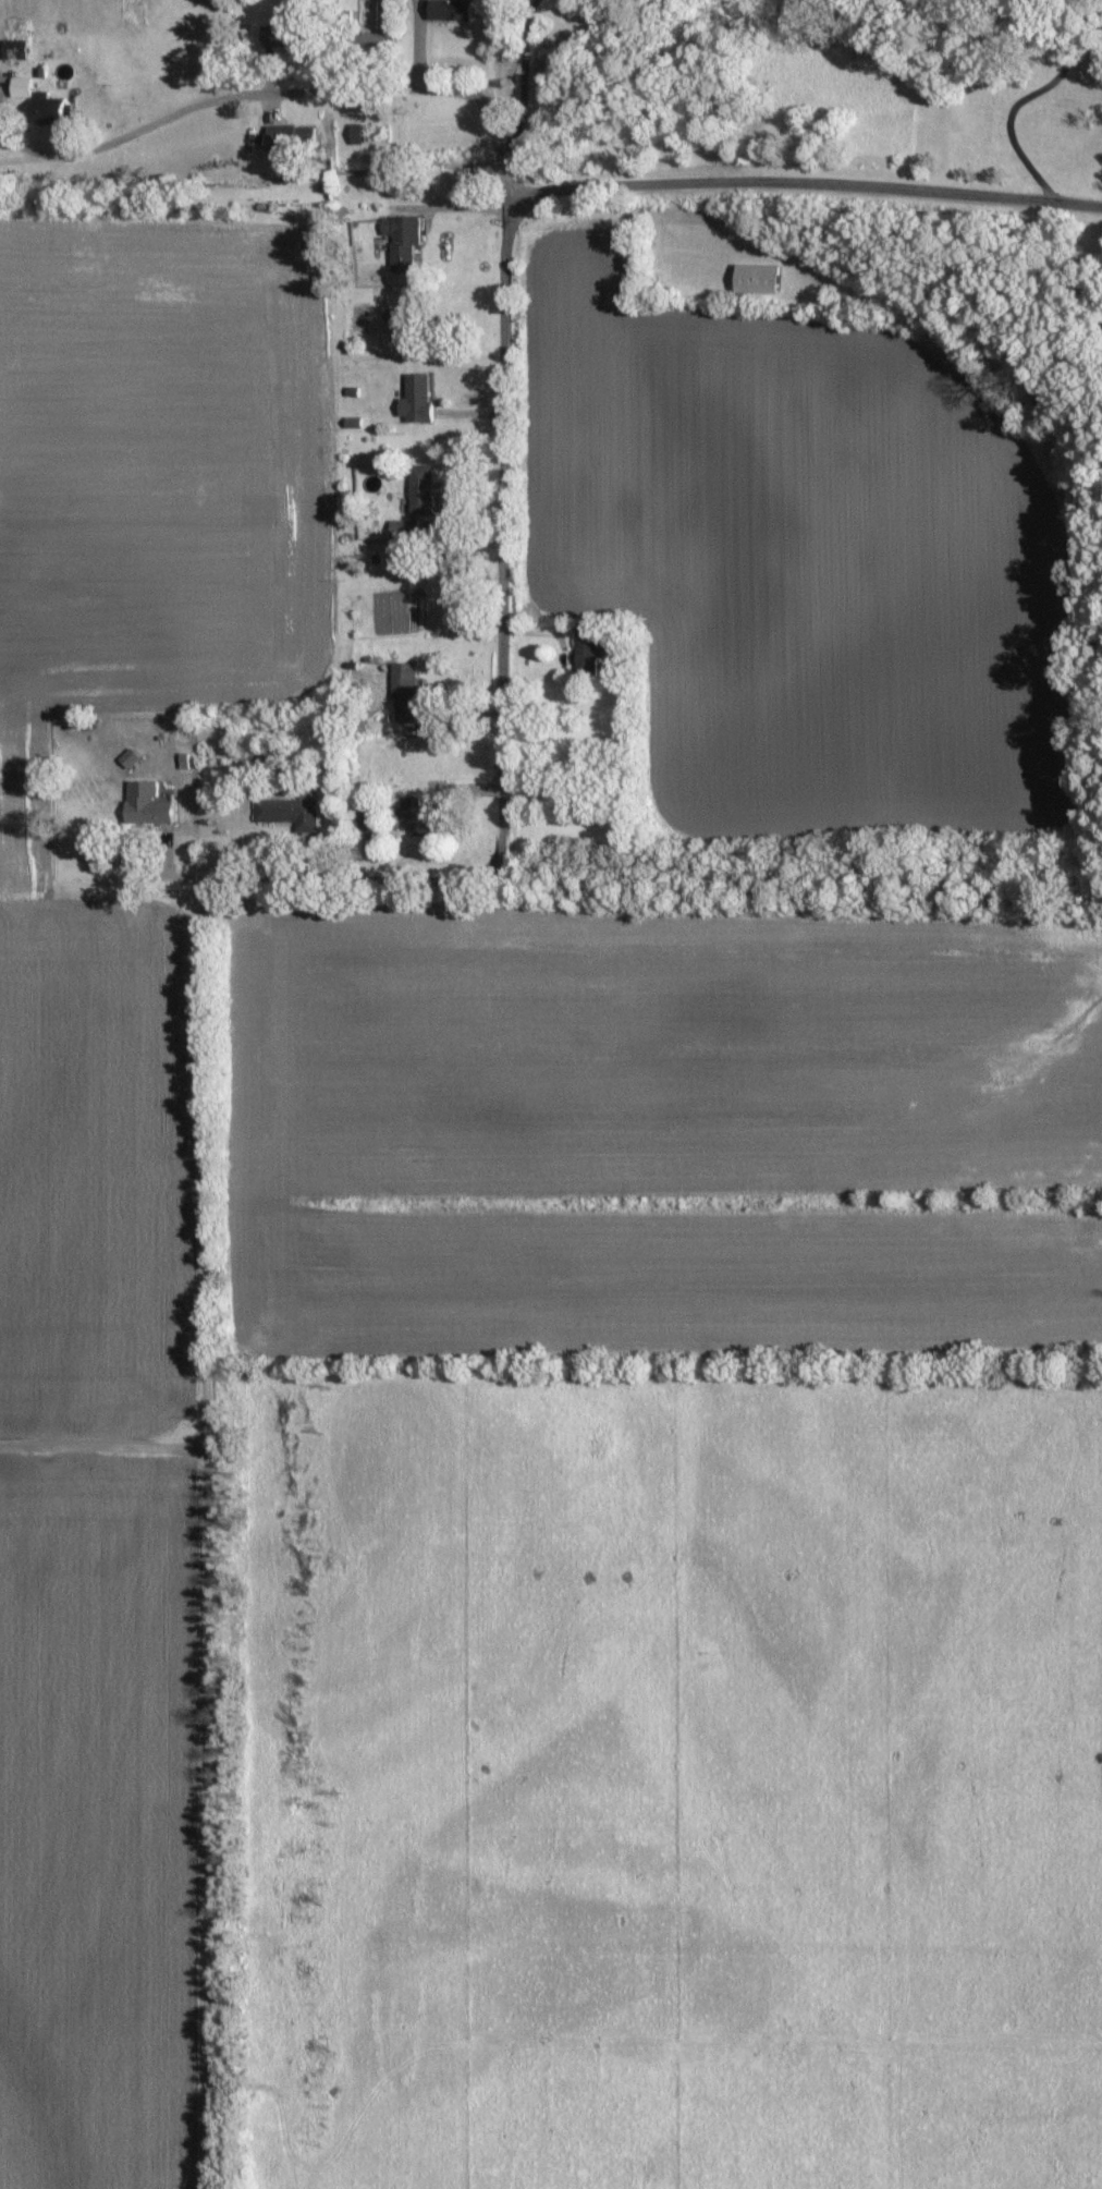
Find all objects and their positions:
building: (449, 10)
building: (278, 36)
building: (14, 50)
road: (524, 70)
building: (20, 88)
road: (253, 96)
building: (48, 111)
building: (280, 137)
road: (504, 155)
road: (808, 190)
building: (402, 242)
building: (756, 279)
building: (416, 399)
building: (419, 490)
road: (505, 511)
building: (403, 531)
building: (586, 652)
building: (404, 692)
building: (146, 805)
building: (291, 812)
building: (364, 816)
building: (417, 817)
road: (362, 878)
road: (101, 1458)
road: (201, 1544)

